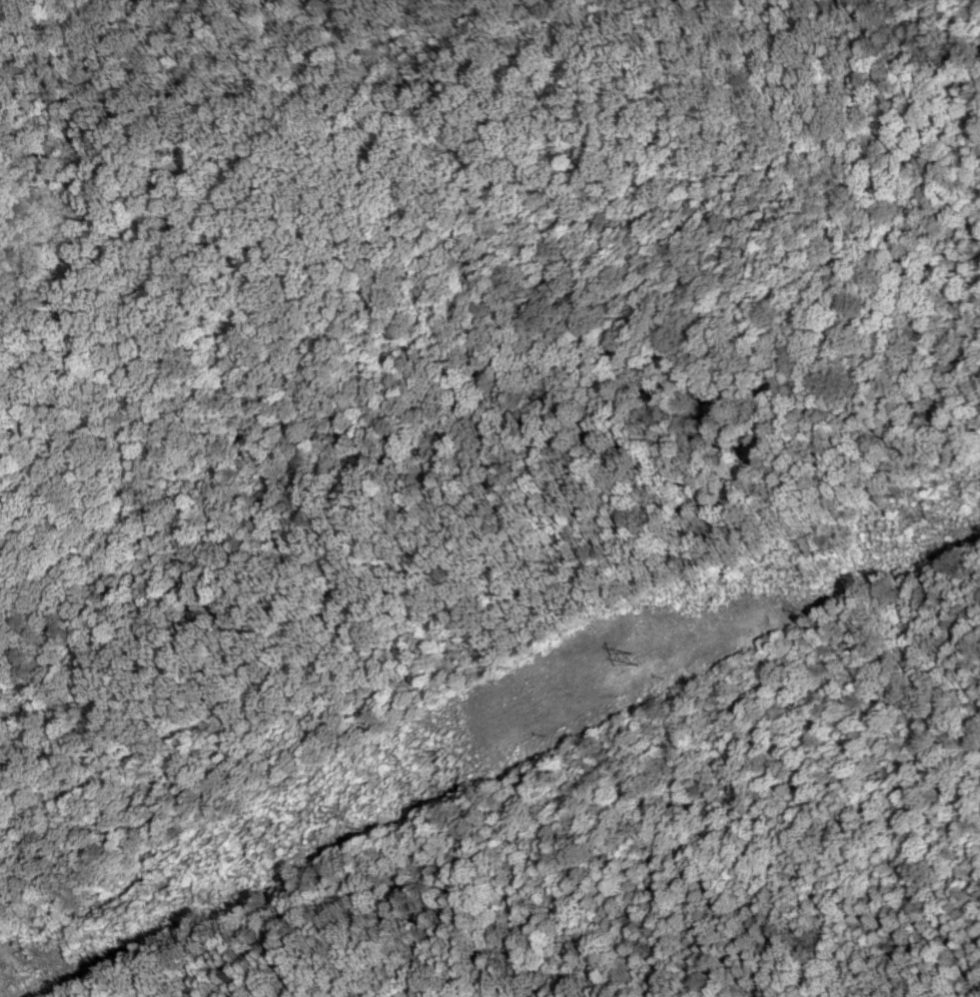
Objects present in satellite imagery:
power tower: (628, 662)

